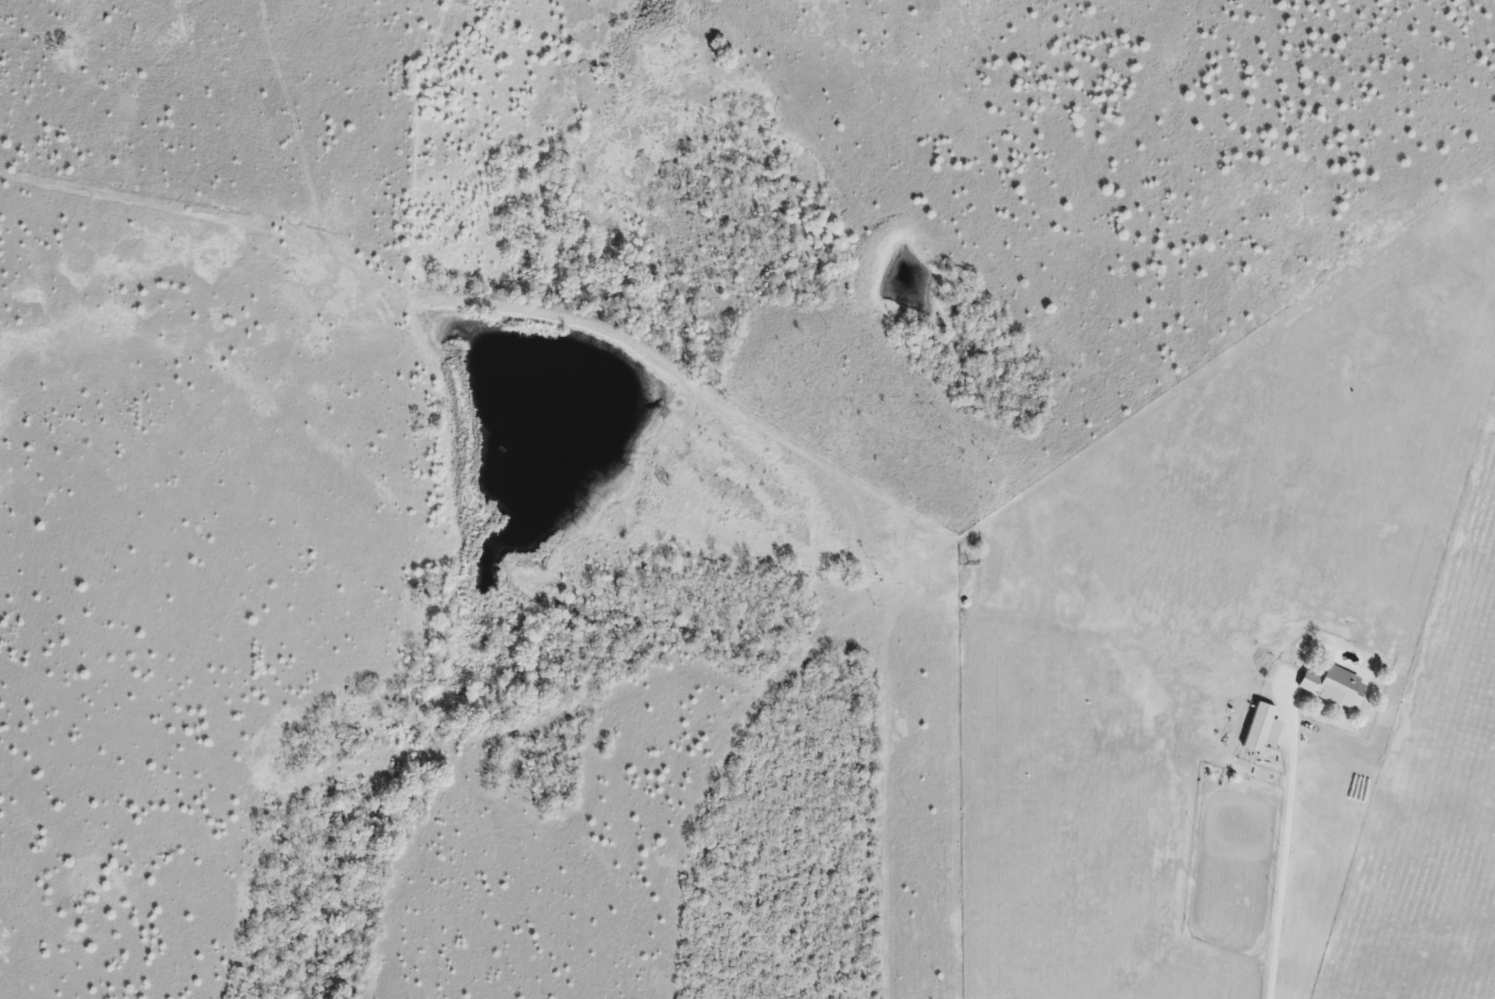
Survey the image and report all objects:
building: (1332, 690)
building: (1258, 731)
road: (1282, 845)

